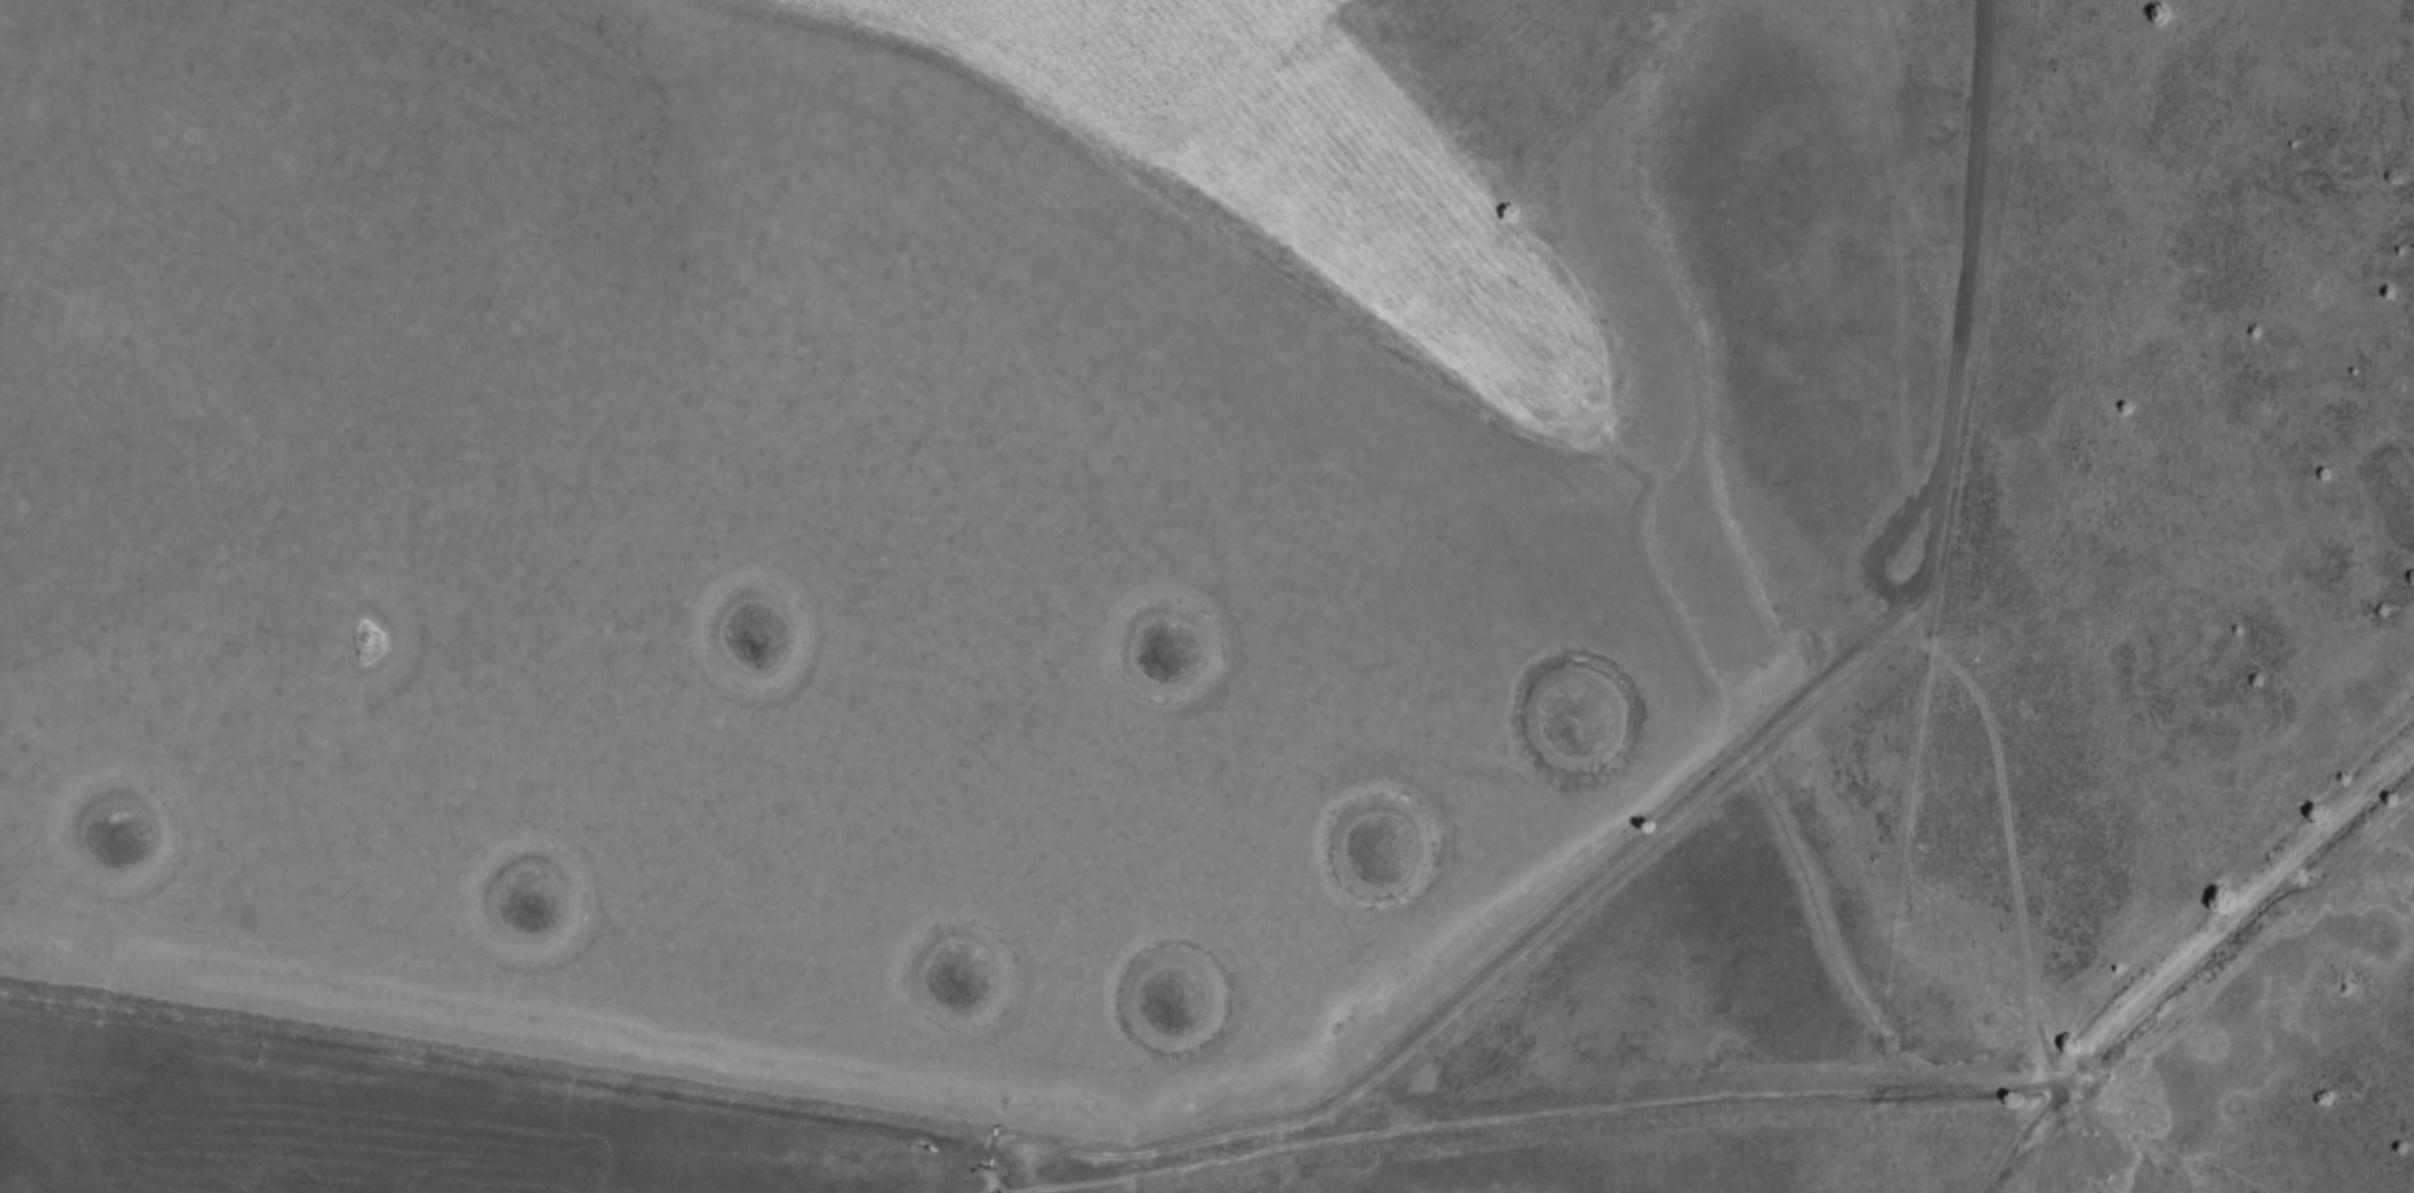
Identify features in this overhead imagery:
crop: (1296, 178)
crop: (381, 1127)

